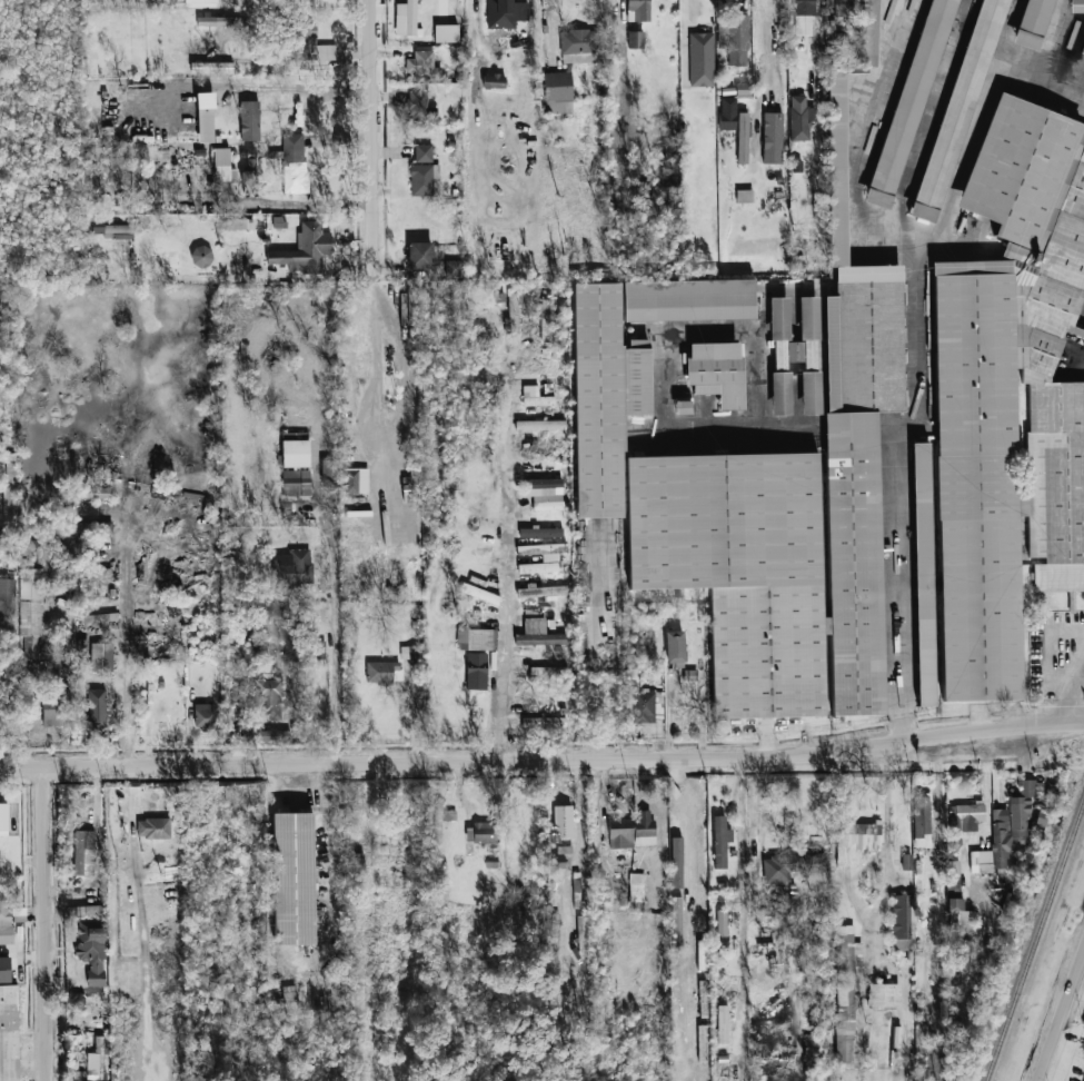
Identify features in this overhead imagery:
building: (196, 2)
building: (1076, 6)
building: (638, 10)
building: (506, 13)
building: (803, 17)
building: (406, 18)
building: (226, 21)
building: (1032, 22)
road: (549, 32)
building: (446, 33)
building: (734, 38)
road: (815, 38)
building: (635, 39)
building: (311, 43)
road: (498, 44)
building: (578, 46)
road: (764, 52)
building: (702, 59)
building: (422, 66)
building: (494, 81)
road: (265, 88)
building: (558, 92)
building: (909, 100)
building: (420, 106)
building: (957, 107)
building: (728, 113)
building: (800, 118)
building: (249, 120)
road: (757, 126)
road: (376, 133)
building: (743, 138)
building: (772, 138)
building: (422, 152)
building: (294, 159)
building: (221, 163)
building: (422, 179)
building: (237, 222)
building: (112, 229)
building: (305, 249)
building: (420, 255)
building: (201, 257)
building: (454, 268)
building: (688, 299)
building: (513, 314)
building: (545, 319)
building: (779, 331)
building: (807, 354)
road: (919, 356)
road: (382, 368)
building: (717, 373)
building: (780, 393)
building: (604, 396)
building: (535, 397)
building: (1008, 397)
building: (683, 406)
building: (539, 425)
building: (295, 436)
building: (296, 453)
building: (327, 469)
building: (356, 479)
building: (296, 483)
building: (9, 486)
building: (544, 486)
building: (91, 493)
building: (793, 500)
building: (541, 506)
building: (92, 527)
building: (540, 532)
road: (507, 555)
building: (541, 557)
building: (292, 567)
building: (923, 574)
building: (543, 591)
building: (485, 595)
building: (7, 601)
building: (30, 613)
building: (95, 618)
building: (538, 634)
building: (476, 638)
road: (127, 645)
building: (675, 646)
building: (321, 649)
road: (332, 651)
building: (409, 653)
building: (101, 657)
building: (476, 671)
building: (548, 671)
building: (382, 672)
road: (1070, 691)
building: (268, 698)
building: (96, 706)
building: (643, 706)
building: (205, 715)
building: (544, 722)
building: (271, 735)
road: (543, 763)
road: (325, 786)
building: (922, 816)
building: (965, 816)
building: (1041, 817)
building: (3, 819)
building: (440, 821)
building: (1013, 822)
building: (157, 829)
building: (644, 829)
building: (481, 832)
building: (620, 833)
building: (720, 841)
building: (856, 841)
building: (700, 842)
building: (676, 850)
building: (83, 852)
road: (330, 855)
building: (981, 861)
building: (556, 862)
building: (356, 863)
building: (792, 865)
building: (953, 867)
building: (291, 877)
building: (636, 886)
building: (635, 908)
road: (743, 911)
building: (962, 915)
building: (4, 916)
building: (903, 922)
road: (42, 926)
building: (722, 929)
building: (581, 933)
railway: (1036, 944)
building: (92, 951)
building: (4, 969)
building: (884, 995)
building: (845, 996)
building: (77, 999)
building: (703, 999)
building: (678, 1011)
road: (1060, 1016)
building: (723, 1023)
building: (9, 1033)
building: (817, 1047)
building: (96, 1065)
building: (703, 1065)

